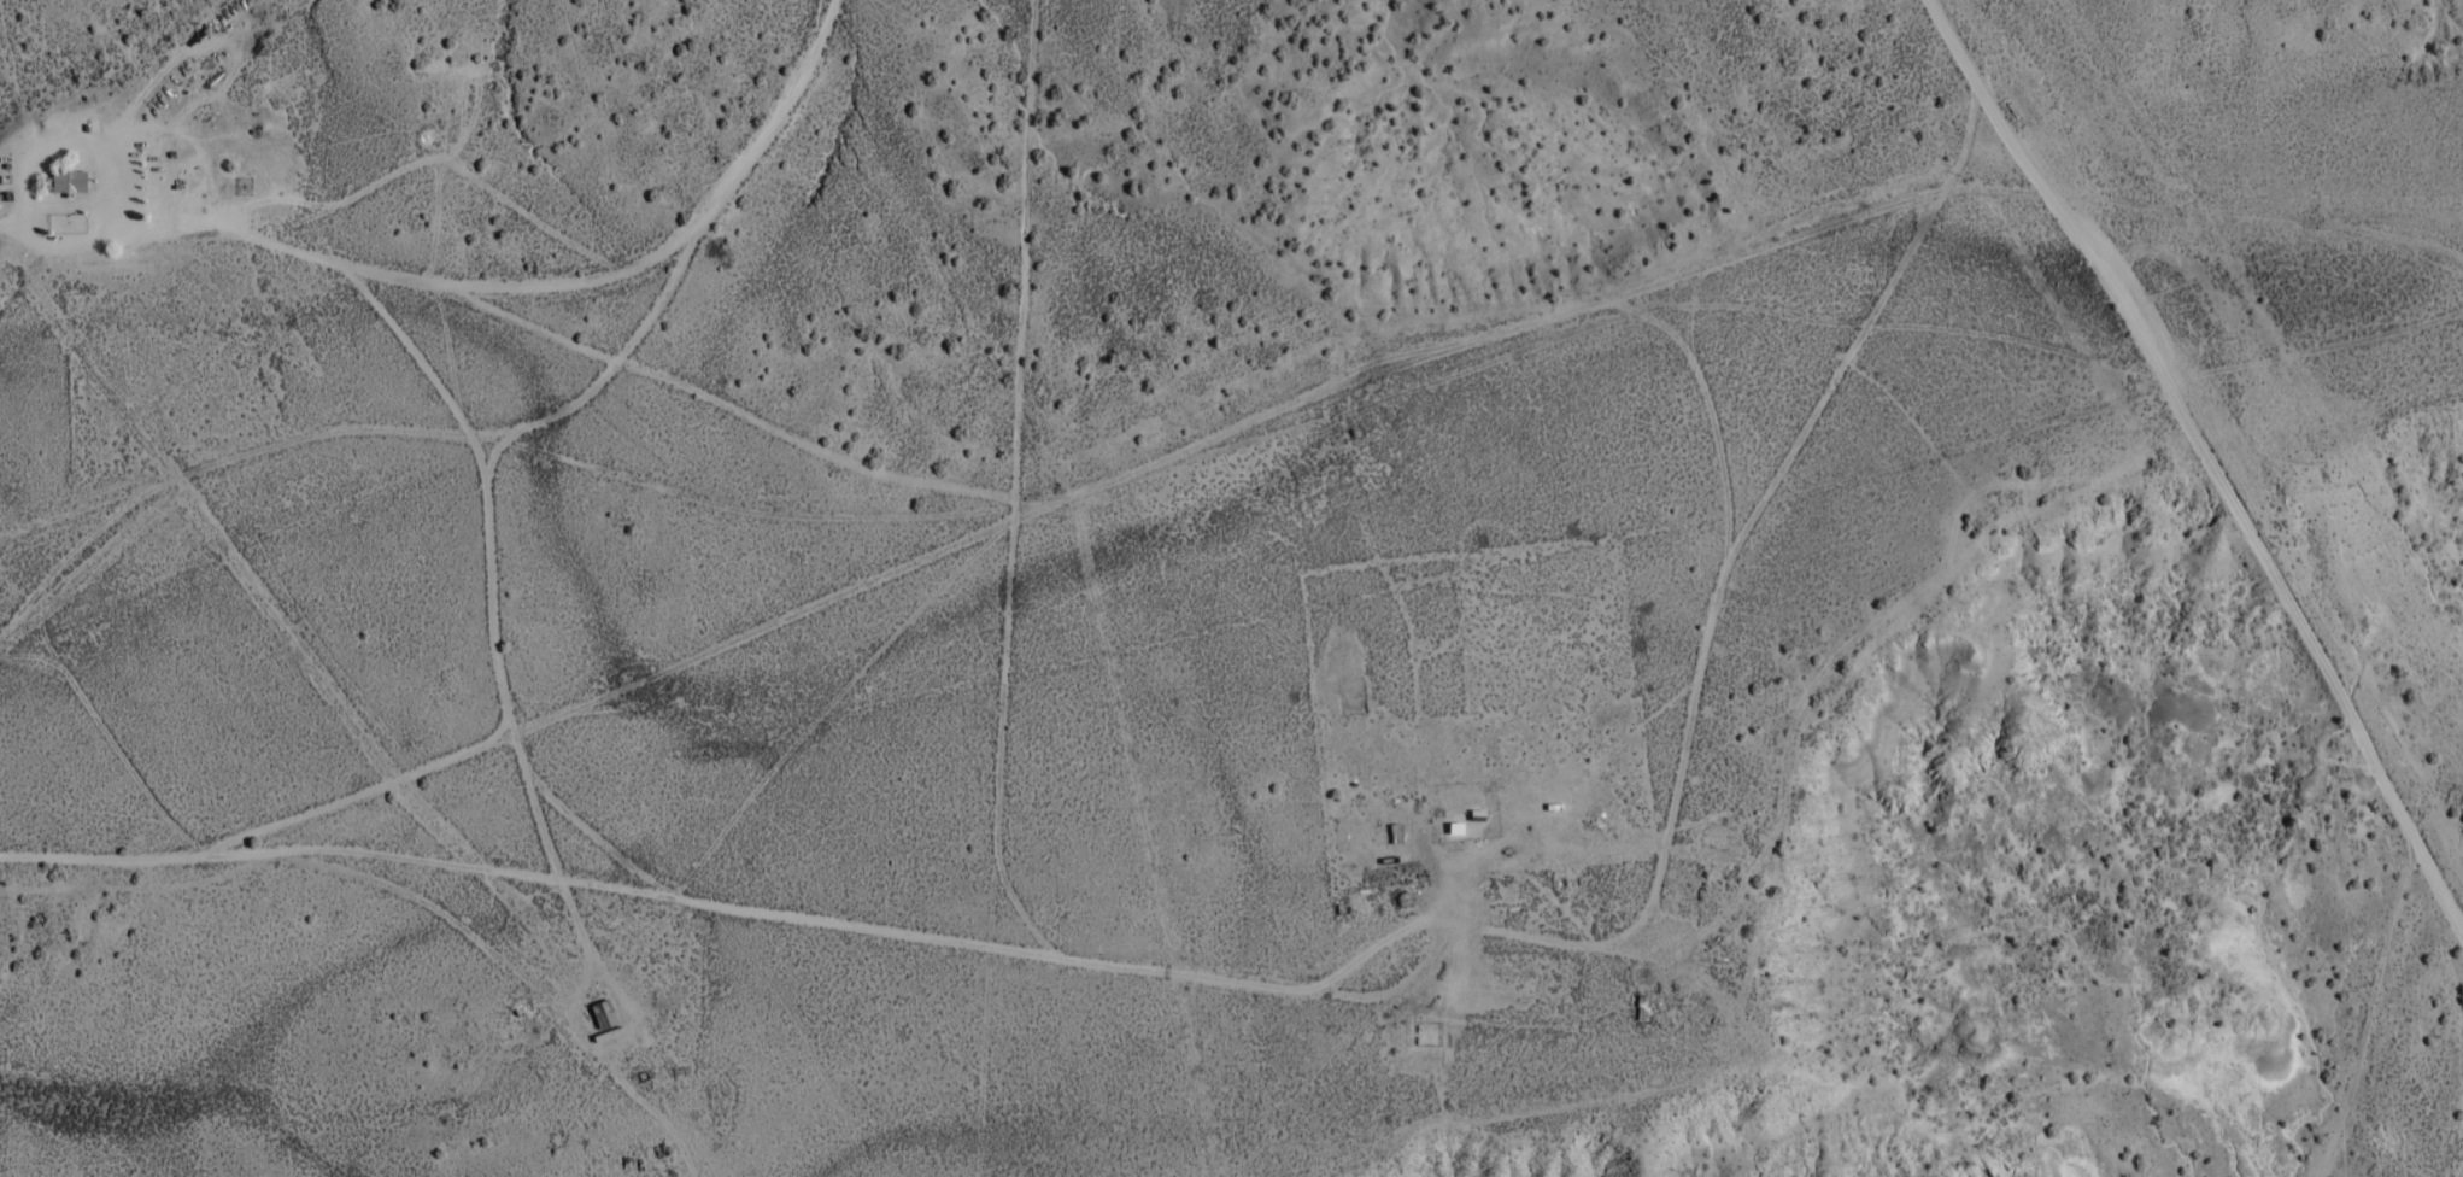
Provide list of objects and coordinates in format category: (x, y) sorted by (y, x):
building: (70, 185)
road: (14, 273)
road: (611, 368)
road: (1216, 441)
road: (2206, 459)
building: (1396, 836)
building: (604, 1018)

